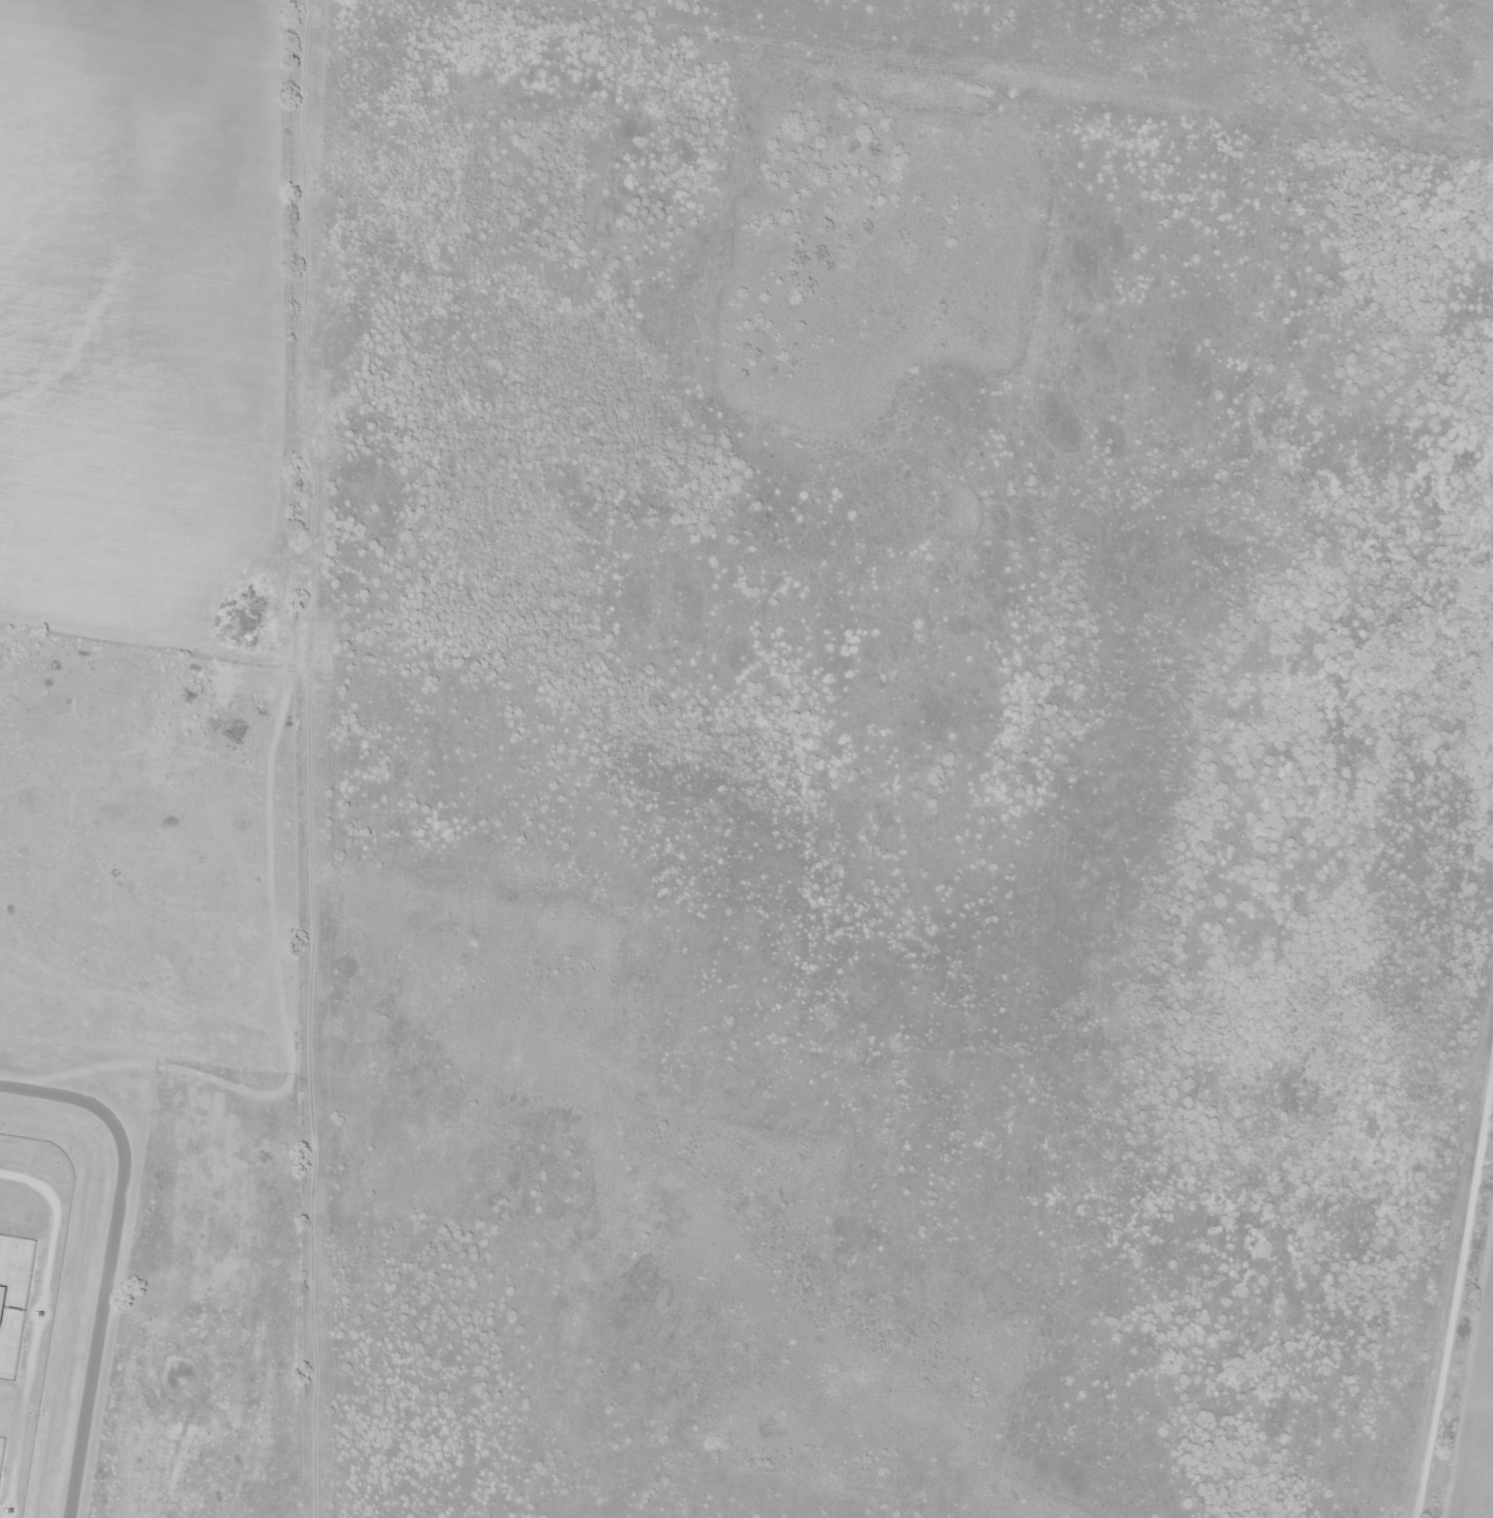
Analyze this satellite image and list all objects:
road: (305, 759)
road: (105, 1262)
road: (1454, 1281)
building: (0, 1292)
road: (1464, 1395)

